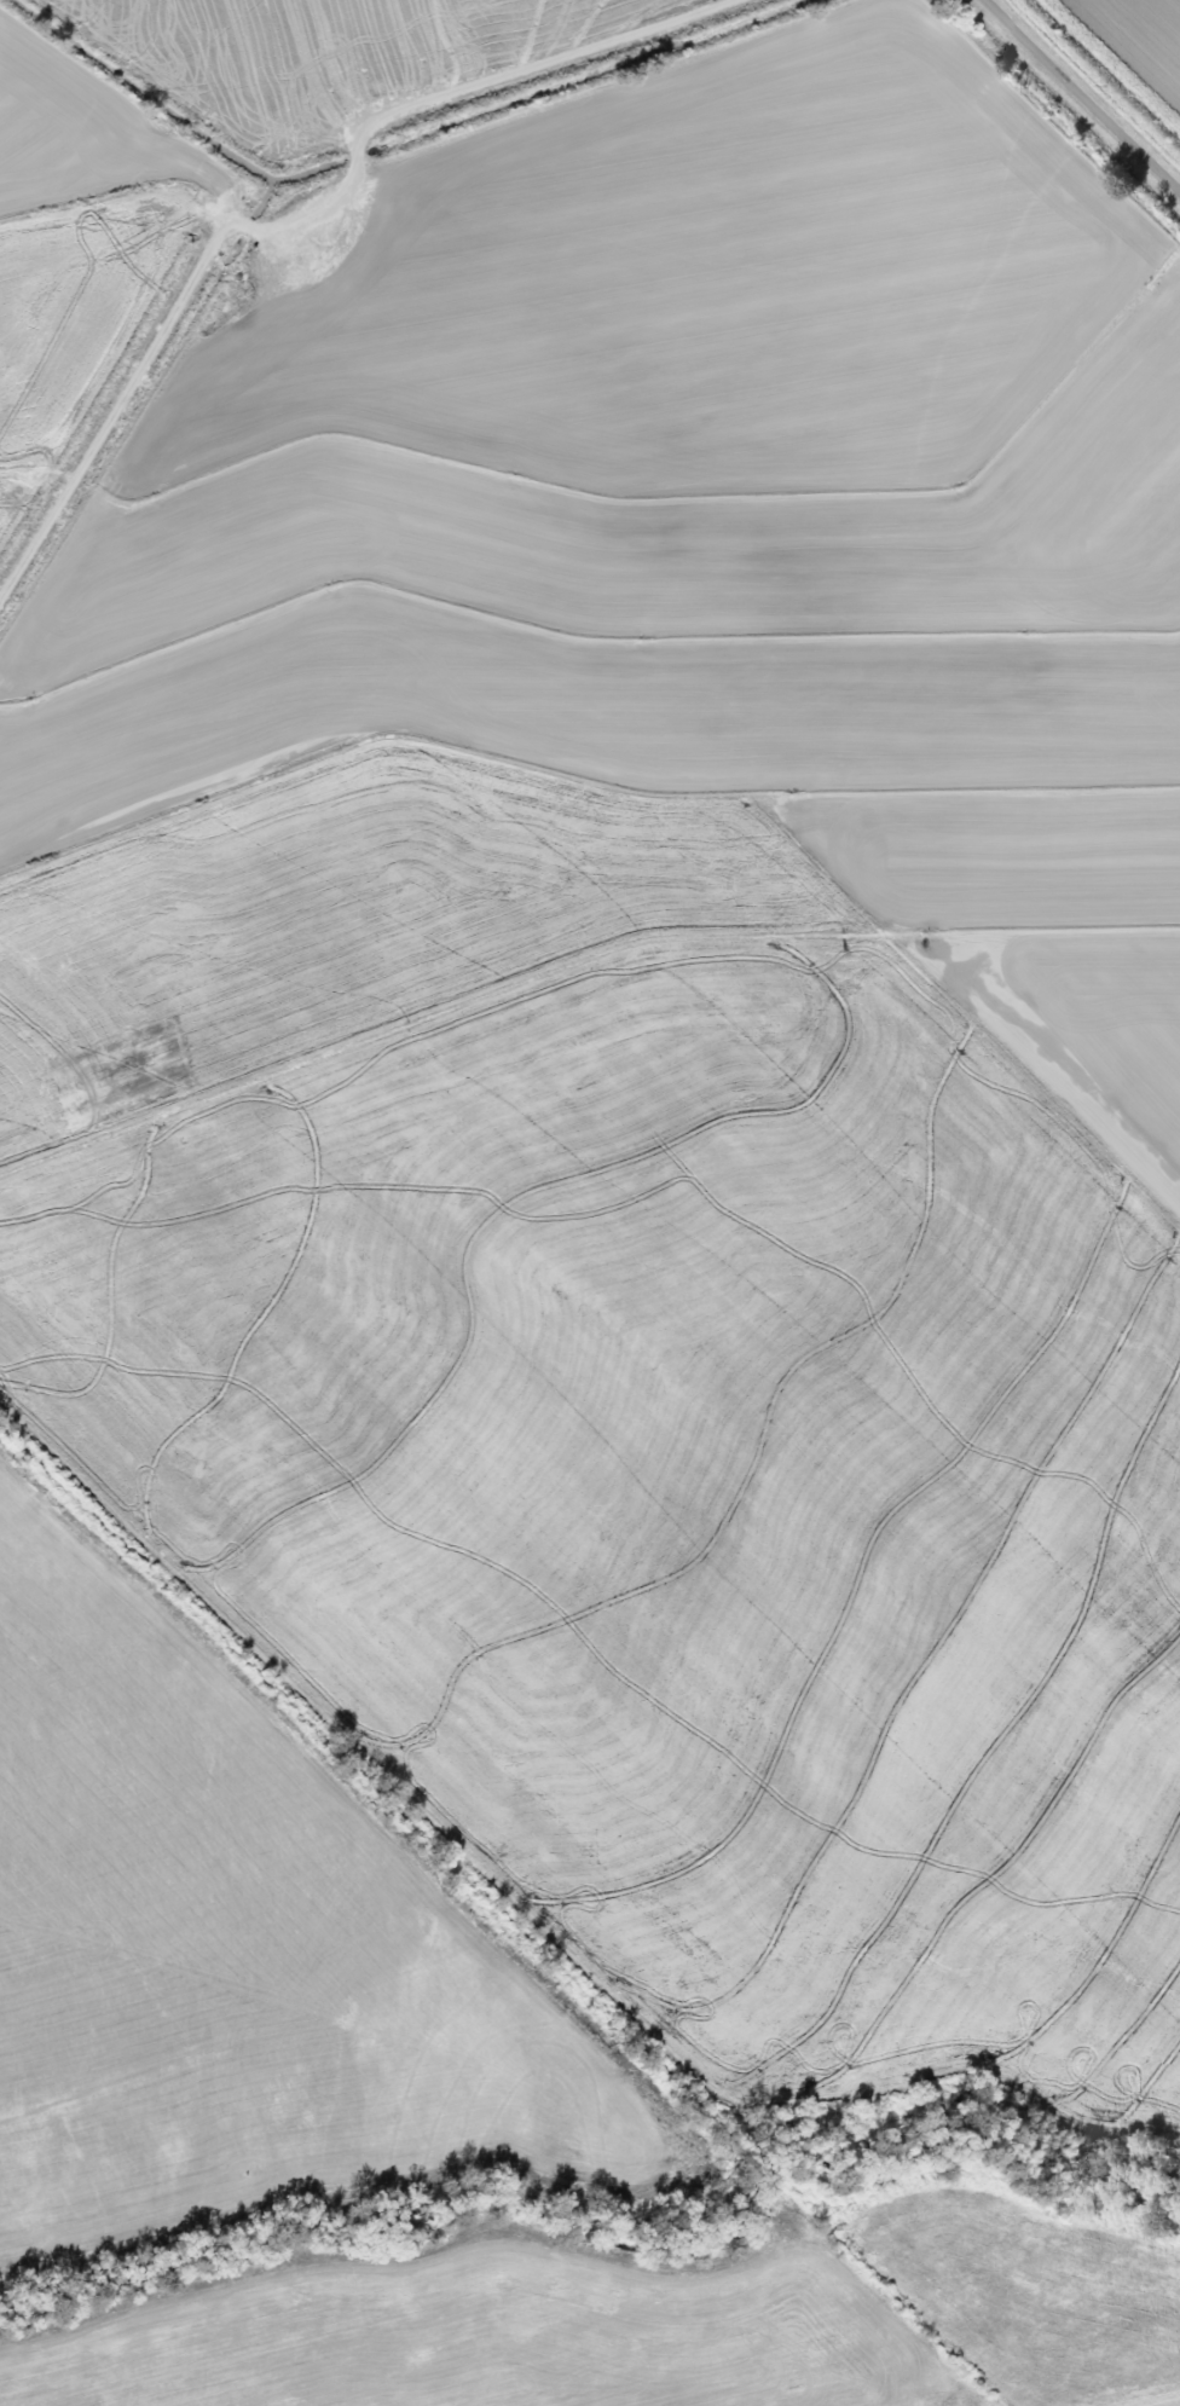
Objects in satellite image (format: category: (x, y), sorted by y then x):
road: (1088, 88)

